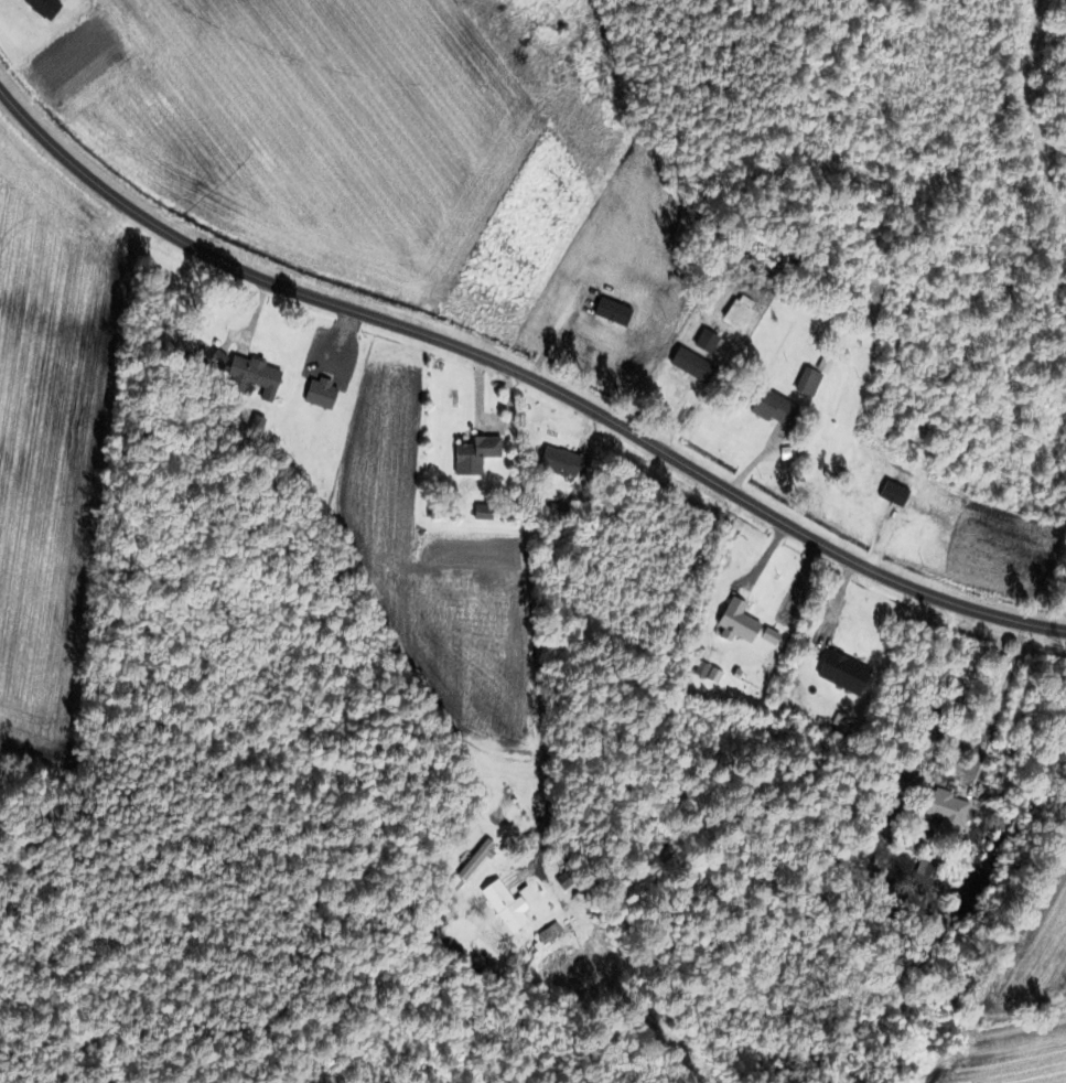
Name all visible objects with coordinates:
building: (41, 8)
building: (737, 312)
building: (704, 342)
road: (523, 365)
building: (689, 365)
building: (249, 376)
building: (806, 384)
building: (317, 393)
building: (769, 408)
building: (473, 453)
building: (557, 462)
building: (481, 512)
road: (532, 581)
building: (735, 620)
building: (767, 635)
building: (841, 672)
building: (934, 723)
road: (994, 750)
building: (943, 807)
building: (473, 860)
building: (503, 905)
building: (547, 933)
road: (283, 991)

